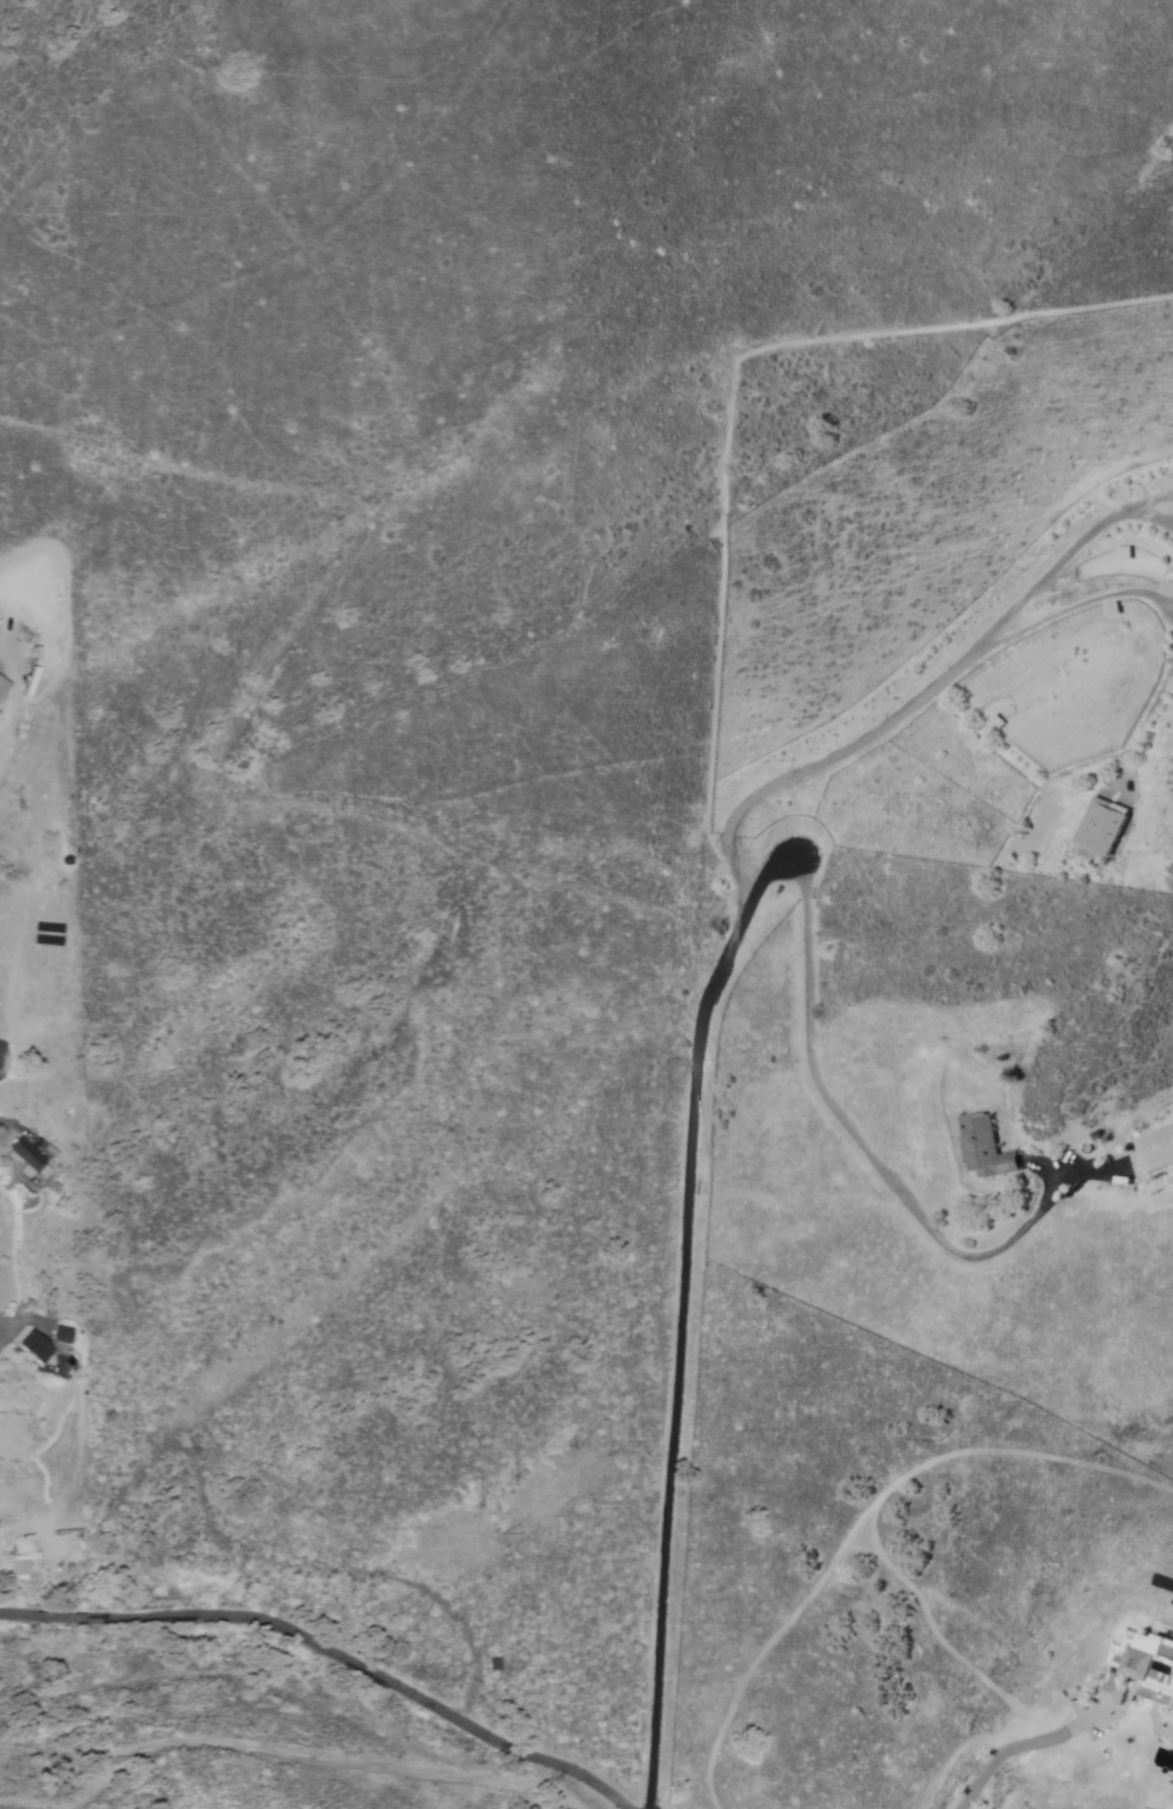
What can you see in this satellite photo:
building: (1099, 825)
building: (1156, 1146)
building: (983, 1147)
building: (27, 1159)
road: (593, 1305)
building: (59, 1334)
building: (33, 1346)
building: (19, 1565)
road: (331, 1648)
building: (1139, 1667)
road: (300, 1692)

